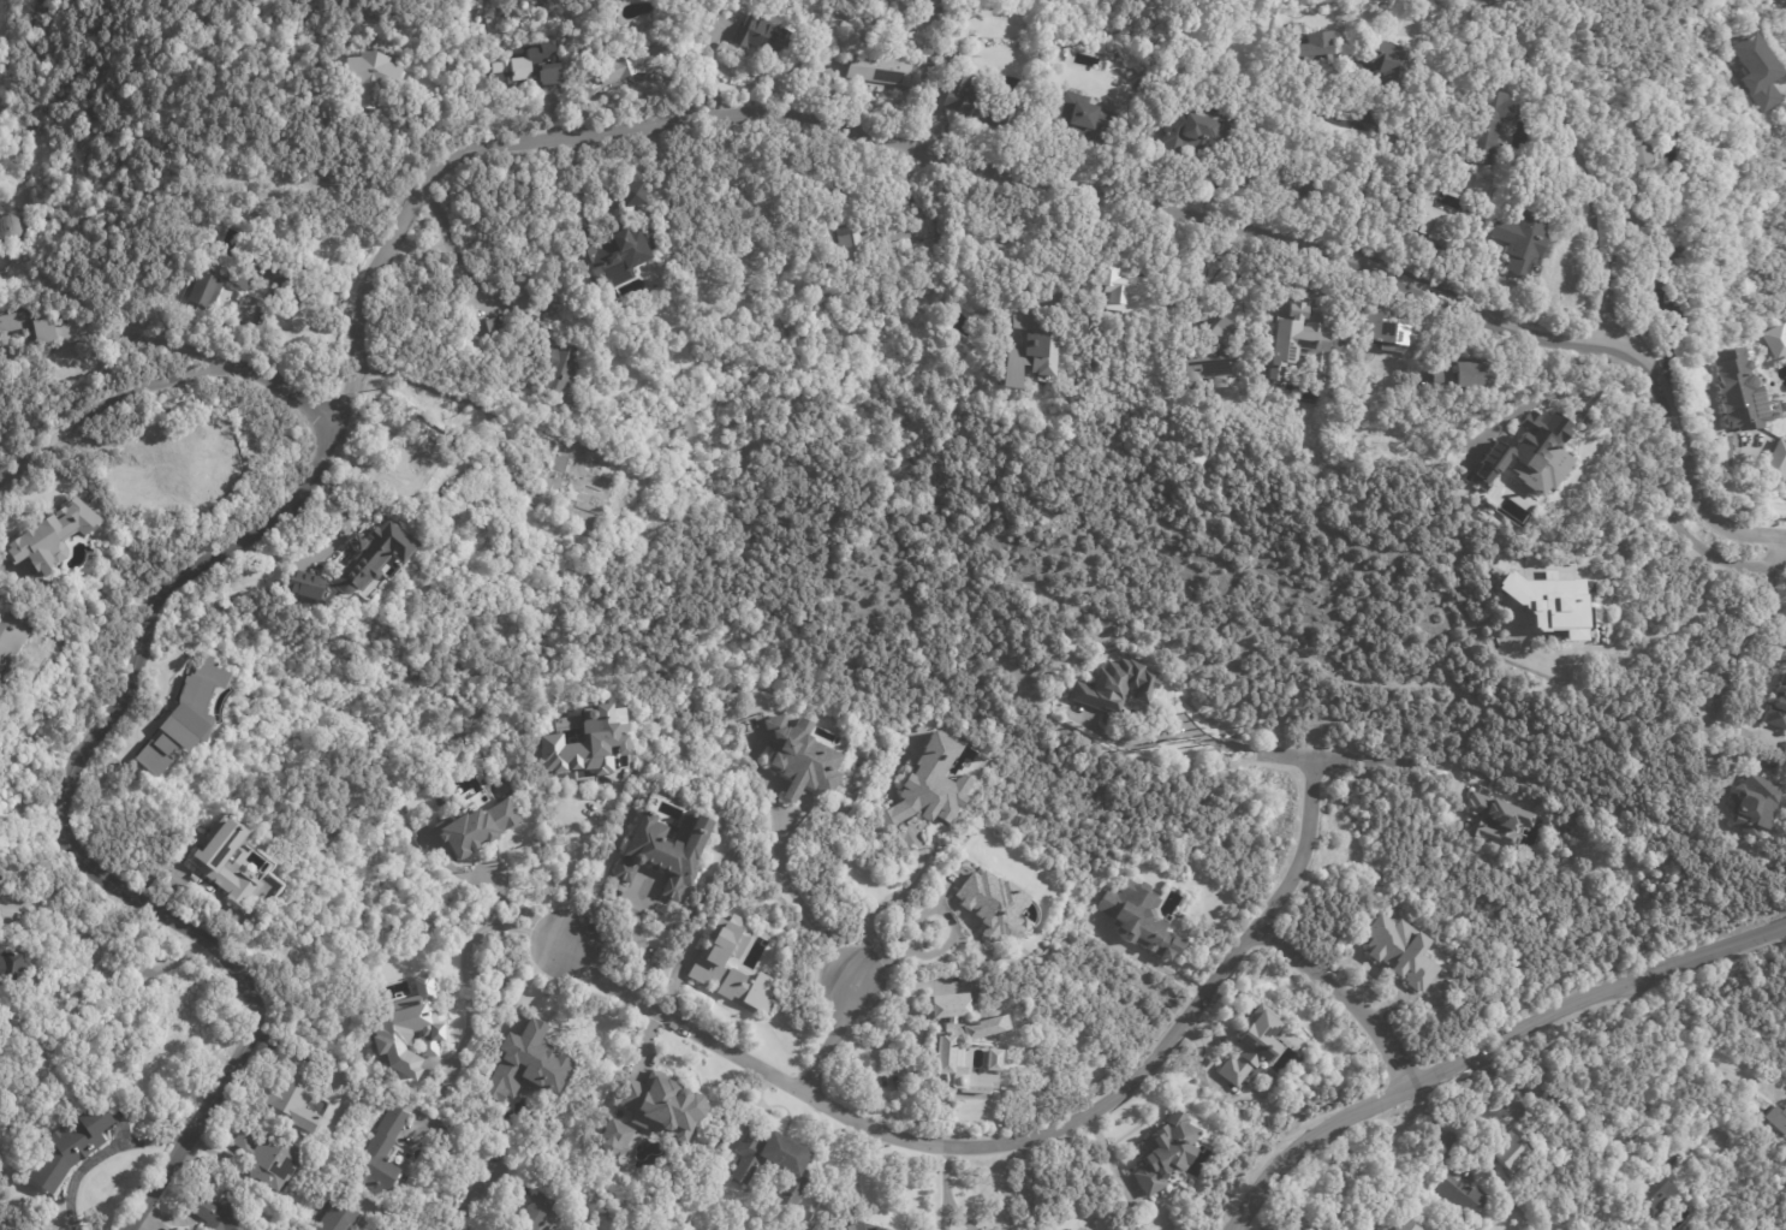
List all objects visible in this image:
building: (885, 36)
building: (766, 37)
building: (1309, 53)
building: (955, 55)
building: (636, 63)
building: (1386, 66)
building: (531, 67)
building: (881, 67)
building: (1756, 71)
building: (375, 78)
building: (981, 101)
building: (1089, 120)
building: (1484, 126)
road: (647, 129)
building: (1201, 131)
building: (1630, 151)
road: (1582, 154)
road: (1357, 183)
building: (1302, 186)
building: (638, 196)
building: (927, 215)
building: (1428, 219)
building: (1518, 239)
building: (869, 242)
road: (450, 243)
building: (988, 243)
building: (937, 250)
building: (618, 255)
building: (1672, 269)
building: (274, 279)
building: (1125, 285)
building: (207, 290)
building: (528, 297)
building: (489, 327)
building: (28, 328)
building: (1385, 328)
building: (1042, 332)
road: (156, 339)
building: (1773, 339)
building: (1300, 344)
building: (1218, 355)
building: (554, 368)
building: (1454, 378)
road: (168, 382)
building: (1739, 392)
road: (1548, 394)
road: (464, 397)
building: (1530, 453)
building: (198, 460)
building: (1775, 460)
building: (410, 464)
road: (1740, 489)
building: (585, 491)
building: (136, 511)
road: (1683, 531)
building: (46, 539)
road: (1772, 548)
building: (358, 565)
building: (1550, 602)
building: (12, 636)
road: (1736, 652)
building: (1113, 685)
building: (1778, 706)
building: (184, 717)
building: (591, 742)
road: (1254, 749)
building: (799, 759)
road: (1403, 762)
road: (888, 778)
building: (930, 784)
building: (1748, 804)
road: (901, 813)
building: (1498, 820)
building: (471, 828)
building: (669, 849)
building: (214, 862)
road: (567, 867)
road: (798, 903)
building: (994, 909)
building: (1135, 916)
road: (100, 946)
road: (859, 947)
road: (462, 952)
building: (1401, 952)
building: (708, 962)
building: (11, 967)
road: (1350, 1000)
building: (949, 1006)
building: (403, 1028)
building: (1245, 1042)
road: (1487, 1044)
road: (1696, 1051)
building: (962, 1058)
building: (990, 1060)
building: (530, 1065)
road: (903, 1069)
building: (340, 1077)
building: (1730, 1086)
building: (296, 1094)
building: (656, 1104)
road: (201, 1116)
building: (1775, 1119)
building: (612, 1137)
road: (1029, 1143)
building: (71, 1147)
building: (1507, 1147)
building: (1157, 1151)
building: (385, 1152)
building: (270, 1158)
building: (769, 1160)
building: (1465, 1164)
road: (946, 1177)
road: (1025, 1188)
road: (490, 1189)
building: (1648, 1196)
building: (1457, 1198)
building: (540, 1211)
building: (220, 1212)
road: (962, 1216)
building: (340, 1218)
road: (946, 1219)
building: (1380, 1219)
building: (857, 1226)

